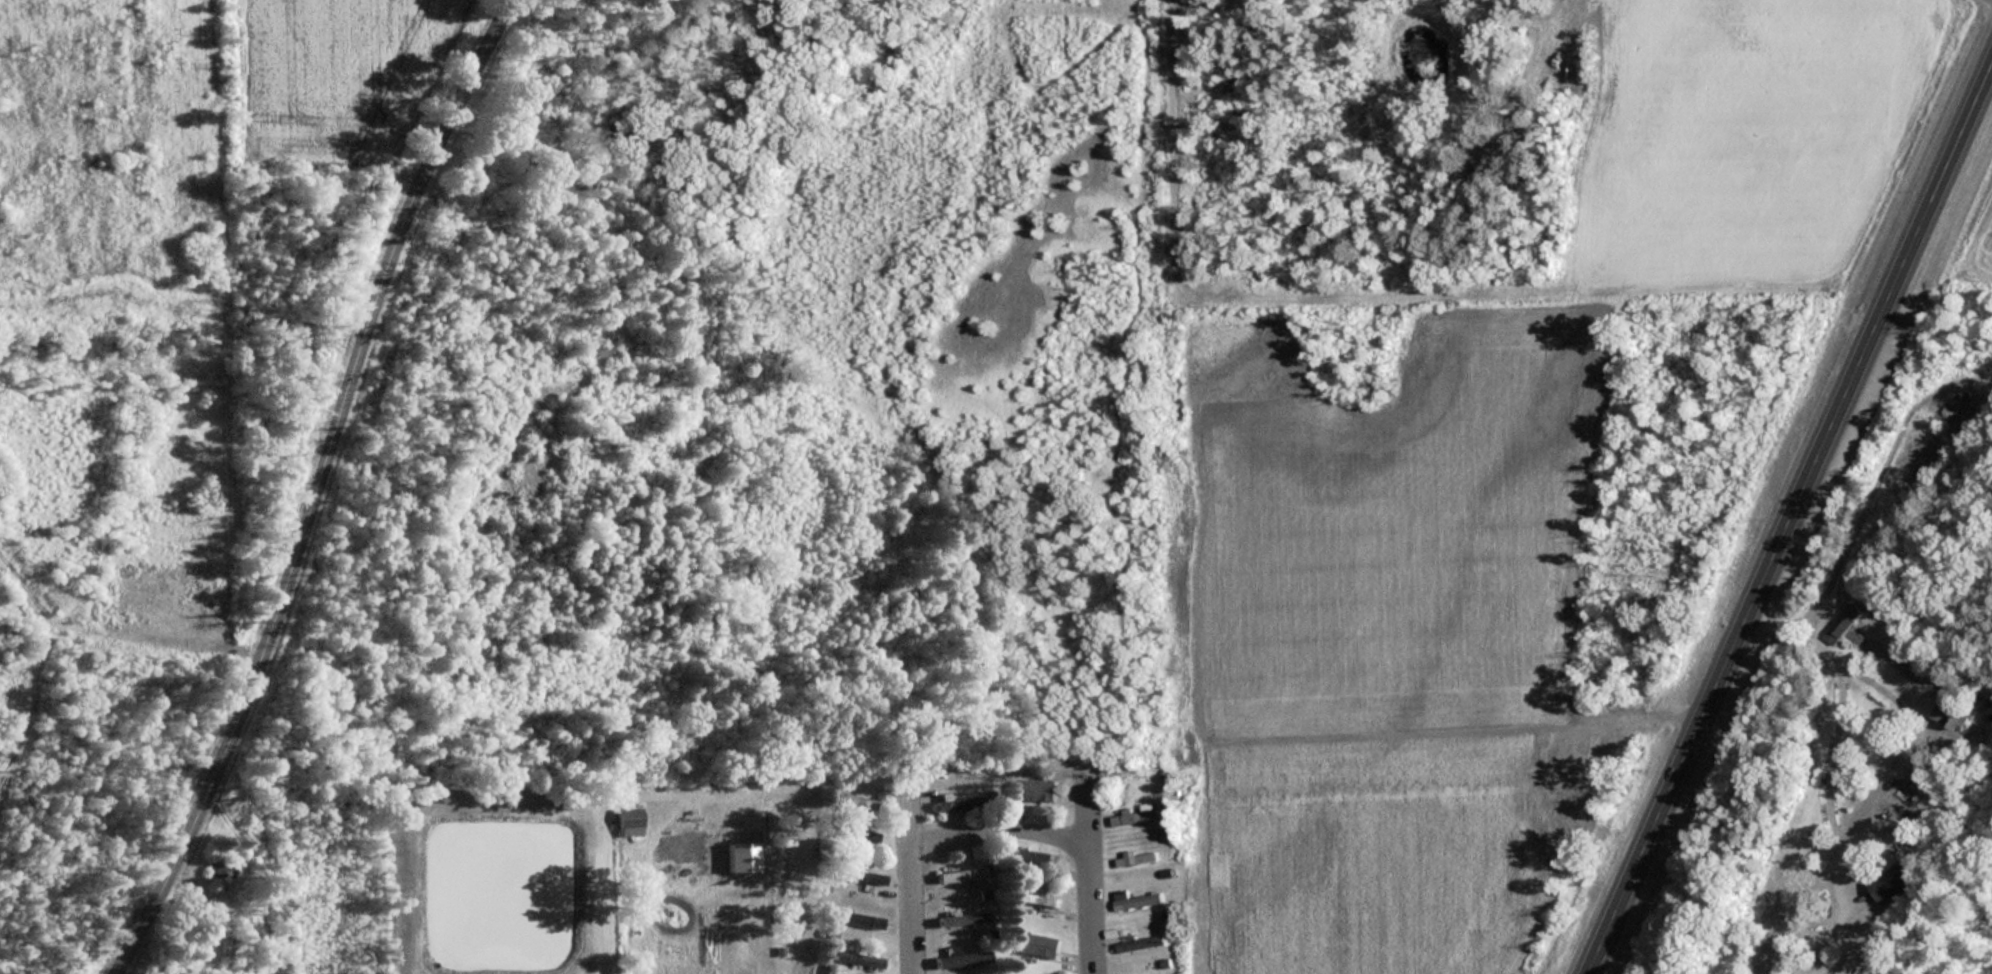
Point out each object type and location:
road: (326, 489)
road: (1790, 519)
building: (1842, 624)
building: (1898, 645)
building: (1950, 716)
building: (1140, 776)
building: (853, 801)
building: (955, 803)
building: (1137, 817)
building: (628, 821)
road: (996, 829)
building: (857, 834)
building: (1039, 858)
building: (1139, 859)
building: (219, 864)
building: (962, 873)
building: (855, 875)
road: (1088, 877)
road: (909, 882)
building: (1891, 882)
building: (1038, 898)
building: (1140, 901)
building: (961, 916)
building: (856, 917)
building: (1144, 940)
building: (1039, 941)
building: (961, 957)
building: (853, 958)
building: (1021, 973)

